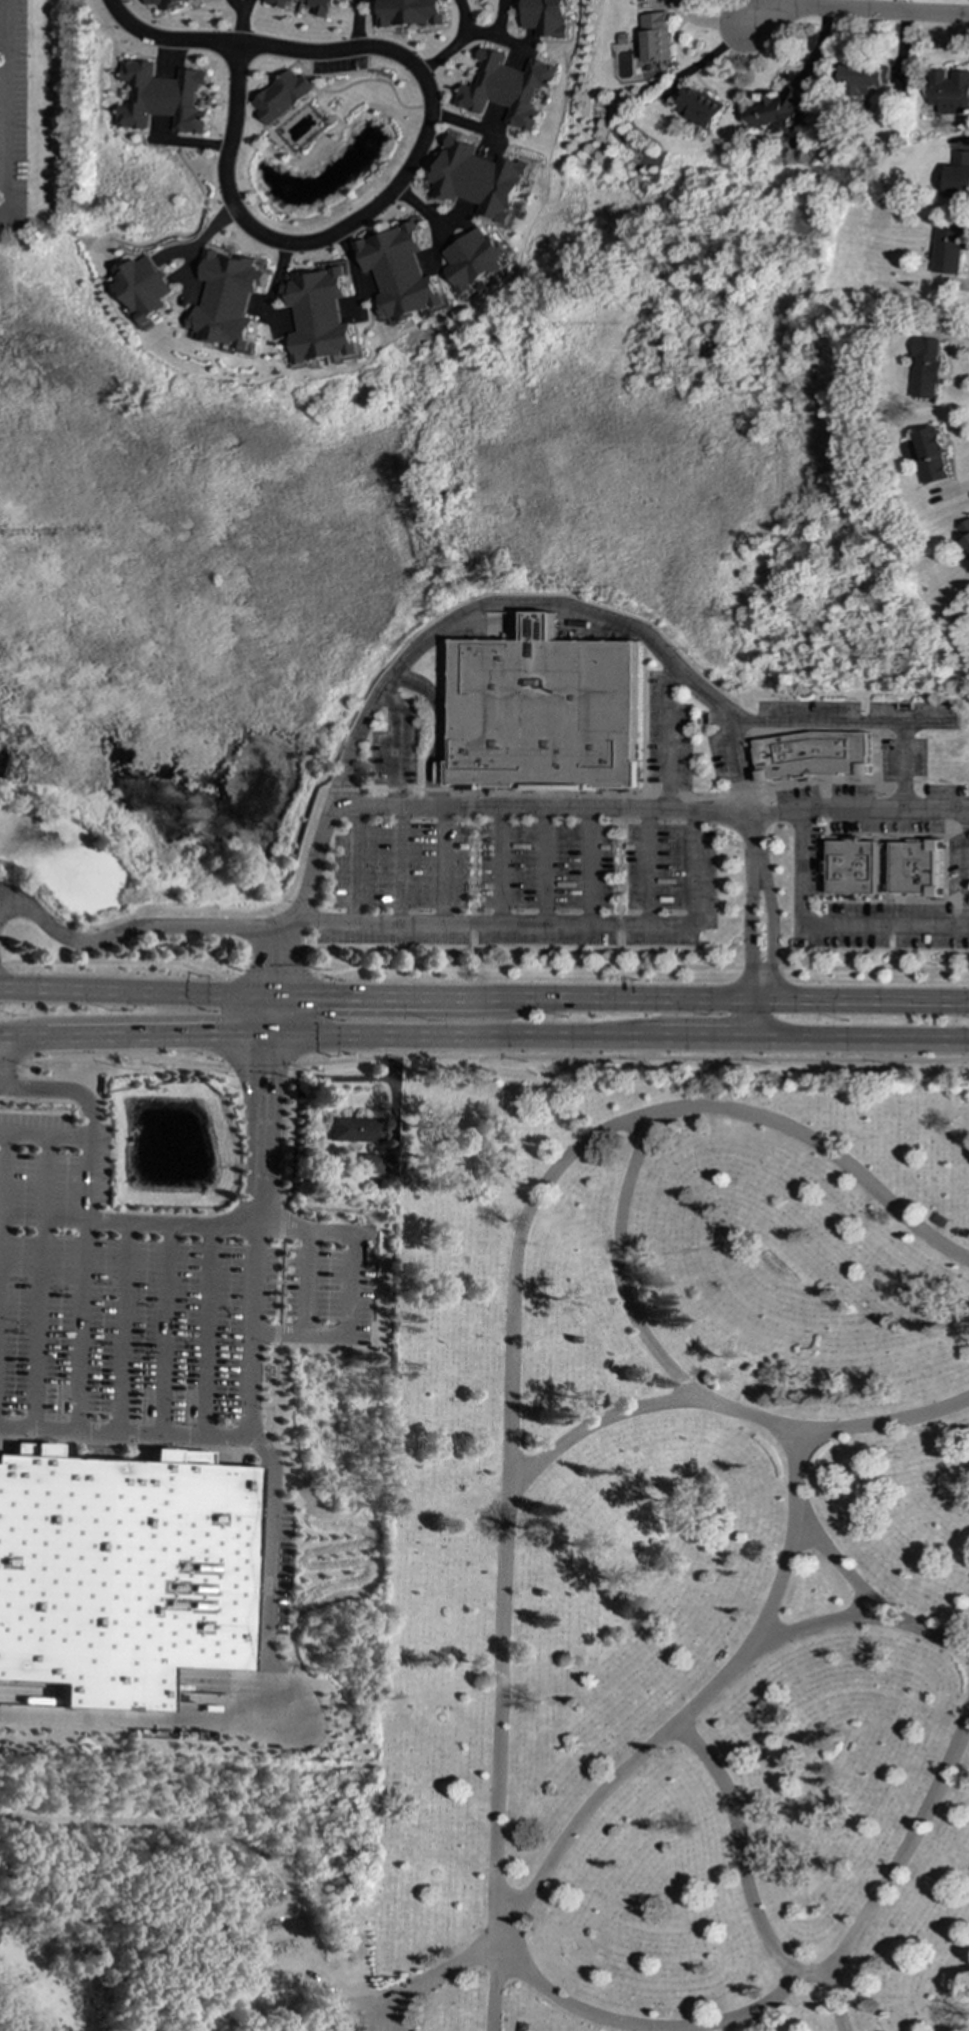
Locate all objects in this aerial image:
building: (167, 2)
building: (274, 4)
building: (314, 7)
road: (852, 10)
building: (399, 13)
building: (536, 18)
building: (652, 38)
road: (484, 39)
road: (447, 41)
road: (238, 45)
building: (864, 80)
building: (502, 89)
building: (950, 91)
building: (277, 97)
building: (161, 98)
building: (699, 106)
road: (3, 110)
building: (779, 110)
building: (959, 176)
building: (476, 178)
road: (419, 211)
road: (211, 233)
road: (312, 242)
building: (950, 246)
building: (474, 261)
building: (400, 271)
road: (275, 278)
building: (144, 288)
building: (321, 315)
building: (926, 367)
building: (932, 455)
building: (965, 531)
road: (430, 637)
building: (547, 713)
road: (927, 722)
road: (859, 723)
road: (444, 729)
road: (782, 731)
road: (668, 738)
road: (394, 749)
building: (816, 756)
road: (432, 768)
building: (446, 772)
road: (842, 780)
road: (763, 793)
road: (519, 794)
road: (471, 805)
road: (619, 806)
road: (537, 808)
road: (856, 808)
road: (551, 814)
road: (581, 814)
road: (963, 827)
road: (951, 832)
road: (555, 834)
road: (636, 834)
road: (352, 863)
road: (396, 864)
road: (441, 864)
road: (500, 865)
road: (544, 866)
road: (589, 866)
road: (646, 867)
building: (853, 868)
building: (918, 869)
road: (885, 870)
road: (293, 874)
road: (470, 891)
road: (618, 891)
road: (826, 901)
road: (953, 902)
road: (962, 908)
road: (552, 923)
road: (828, 929)
road: (224, 945)
road: (273, 959)
road: (118, 961)
road: (641, 966)
road: (275, 976)
road: (91, 989)
road: (227, 992)
traffic signals: (272, 993)
road: (388, 993)
road: (627, 996)
road: (859, 999)
road: (270, 1014)
road: (324, 1019)
road: (749, 1019)
road: (222, 1020)
road: (2, 1033)
road: (26, 1034)
road: (158, 1034)
traffic signals: (268, 1036)
road: (462, 1037)
road: (703, 1040)
road: (859, 1041)
road: (119, 1054)
road: (631, 1057)
road: (6, 1059)
road: (257, 1064)
road: (9, 1066)
road: (64, 1088)
road: (391, 1099)
road: (265, 1112)
building: (355, 1128)
road: (44, 1133)
road: (290, 1134)
building: (370, 1162)
road: (2, 1184)
road: (261, 1206)
road: (282, 1220)
road: (173, 1221)
road: (40, 1281)
road: (280, 1281)
road: (308, 1281)
road: (282, 1282)
road: (81, 1283)
road: (353, 1284)
road: (253, 1322)
road: (124, 1326)
road: (165, 1327)
road: (208, 1329)
road: (277, 1333)
road: (716, 1397)
road: (614, 1425)
road: (879, 1431)
road: (125, 1432)
road: (249, 1447)
road: (267, 1543)
road: (508, 1546)
building: (123, 1571)
park: (609, 1595)
road: (867, 1598)
road: (823, 1626)
road: (155, 1720)
road: (278, 1868)
road: (744, 1868)
road: (894, 1878)
road: (562, 2007)
road: (755, 2010)
road: (747, 2024)

